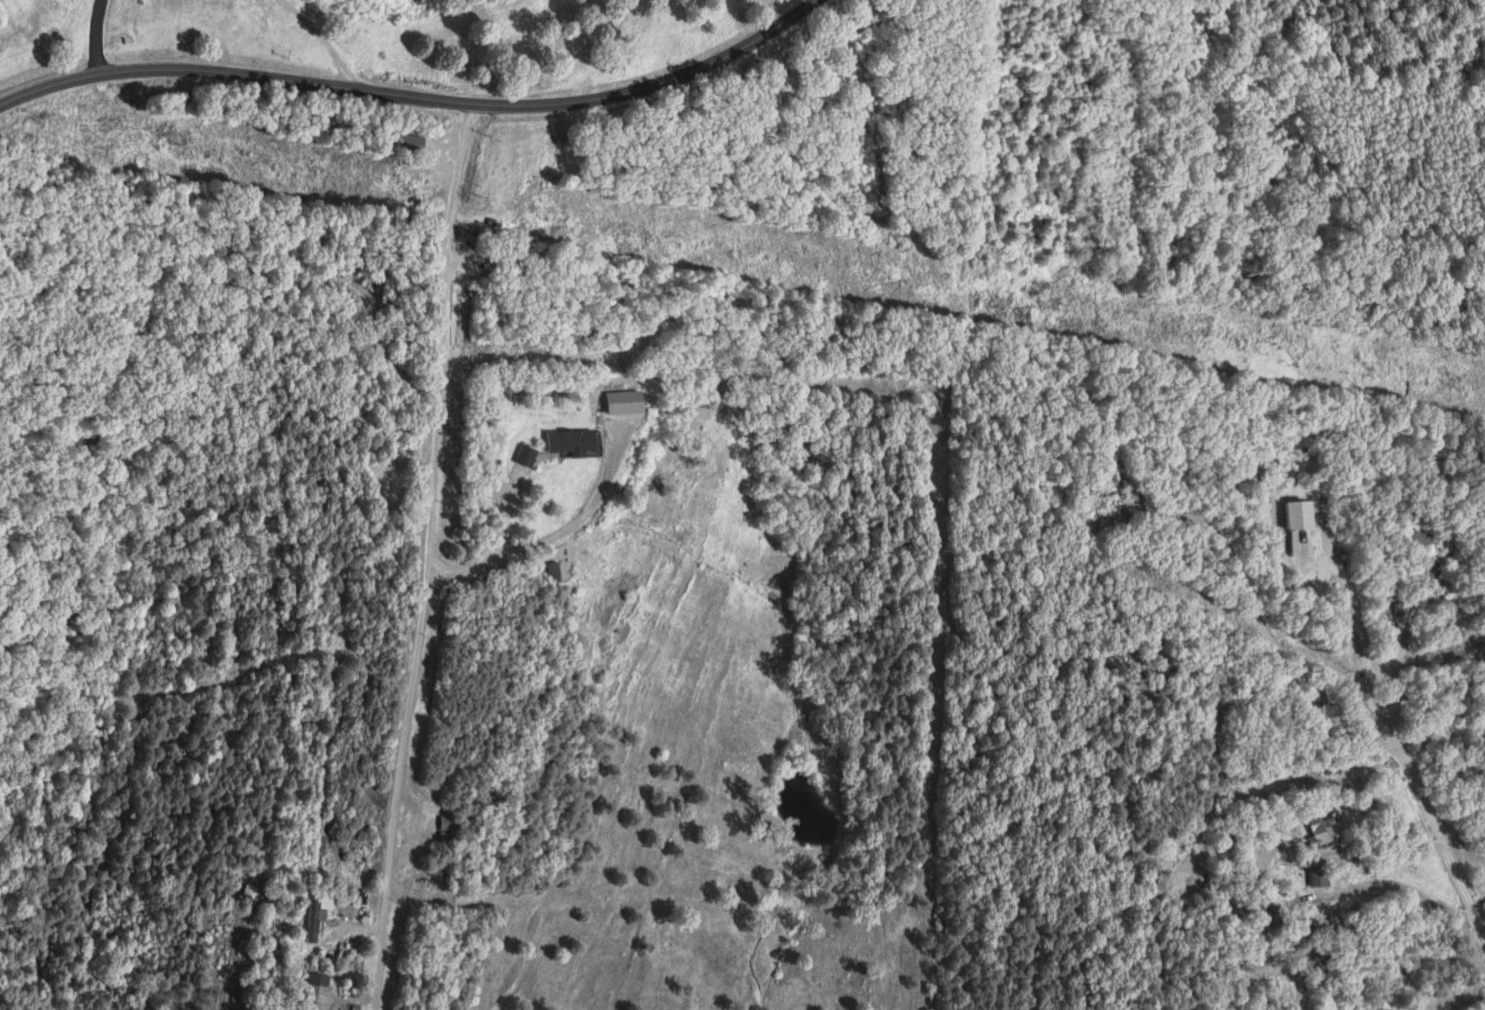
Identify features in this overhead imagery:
road: (99, 38)
road: (323, 38)
road: (413, 95)
building: (413, 142)
power tower: (488, 201)
power tower: (1064, 307)
building: (629, 401)
building: (577, 441)
building: (529, 455)
building: (1303, 514)
road: (580, 523)
road: (417, 557)
road: (1256, 633)
road: (1392, 648)
road: (1364, 673)
road: (1402, 771)
building: (1321, 833)
road: (1320, 843)
road: (1477, 907)
building: (315, 916)
road: (344, 939)
road: (1420, 965)
building: (318, 992)

